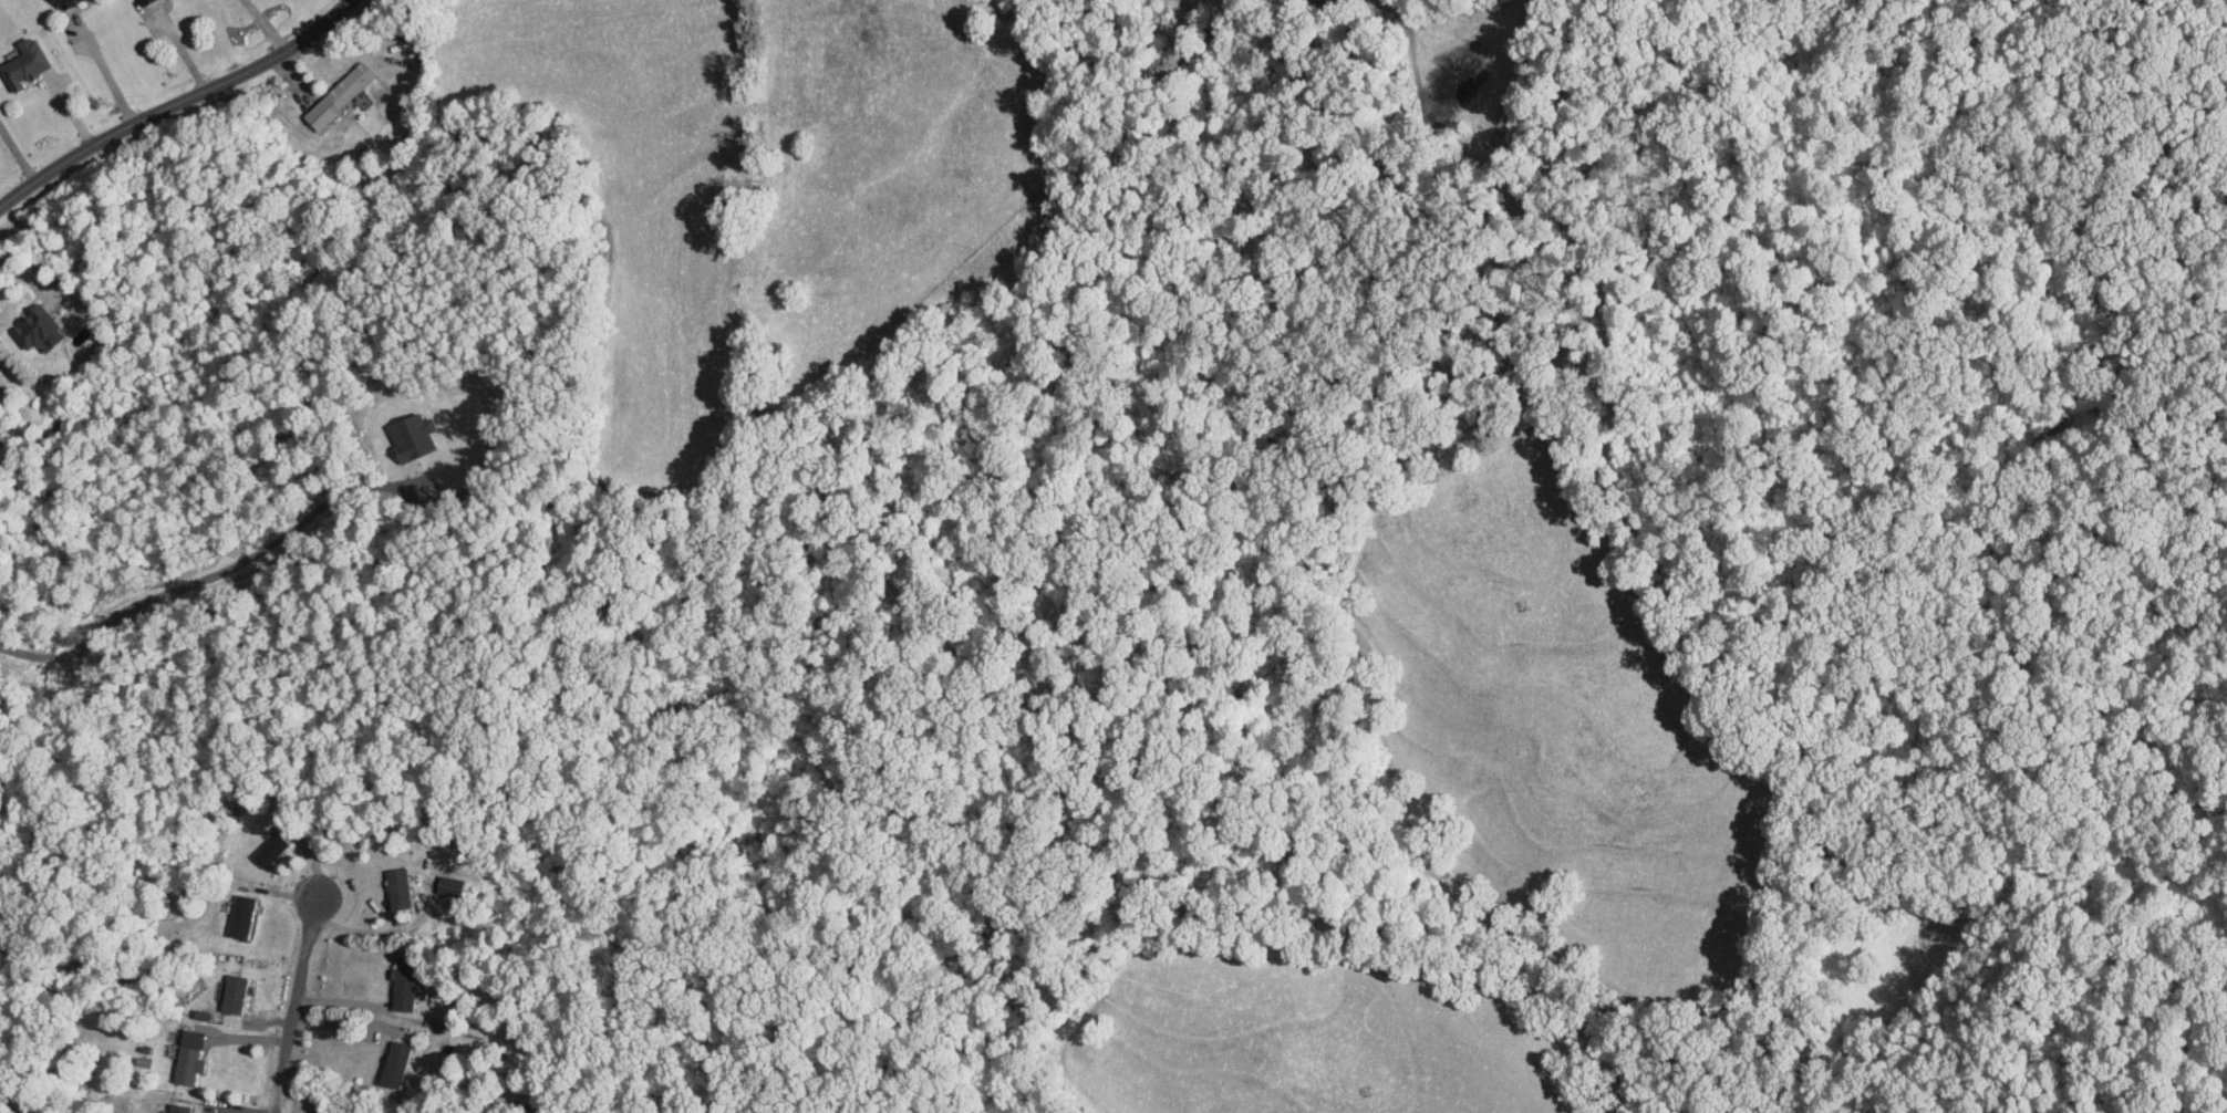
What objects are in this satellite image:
building: (141, 1)
building: (61, 3)
road: (261, 25)
road: (179, 45)
building: (22, 62)
road: (108, 76)
building: (338, 94)
road: (175, 103)
road: (17, 152)
road: (30, 278)
building: (34, 327)
building: (407, 436)
road: (188, 589)
building: (269, 849)
building: (448, 884)
building: (396, 886)
building: (240, 914)
road: (369, 932)
road: (292, 988)
building: (404, 990)
building: (231, 991)
road: (348, 1001)
building: (188, 1057)
building: (392, 1062)
building: (177, 1107)

